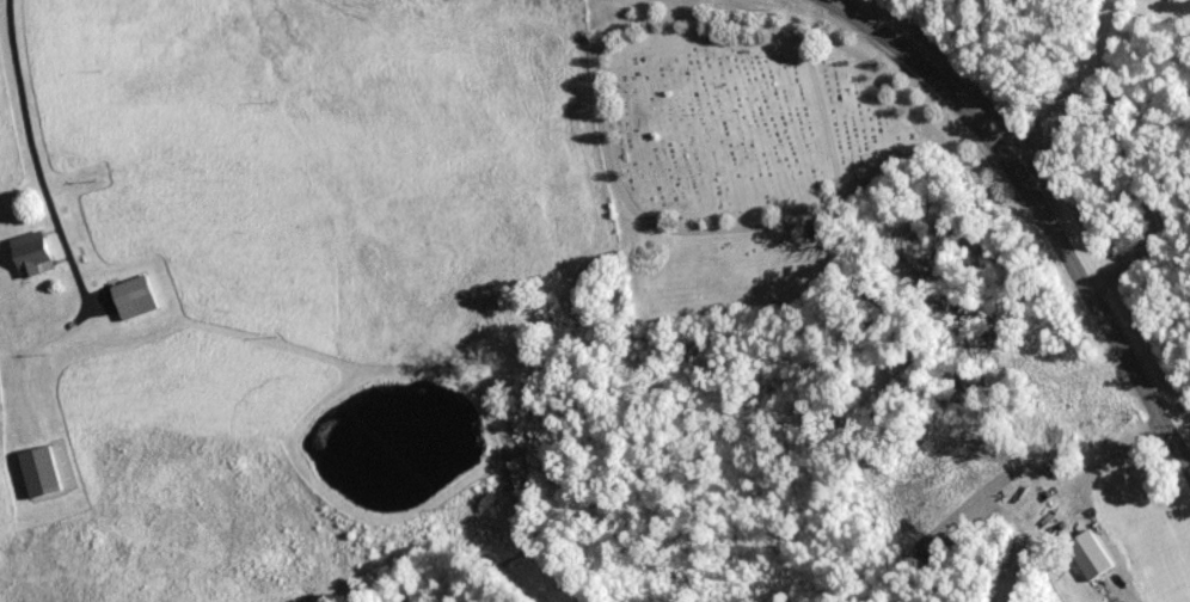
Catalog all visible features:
park: (741, 146)
road: (2, 204)
road: (1039, 209)
building: (23, 252)
building: (125, 291)
road: (1182, 441)
building: (19, 483)
building: (1082, 553)

